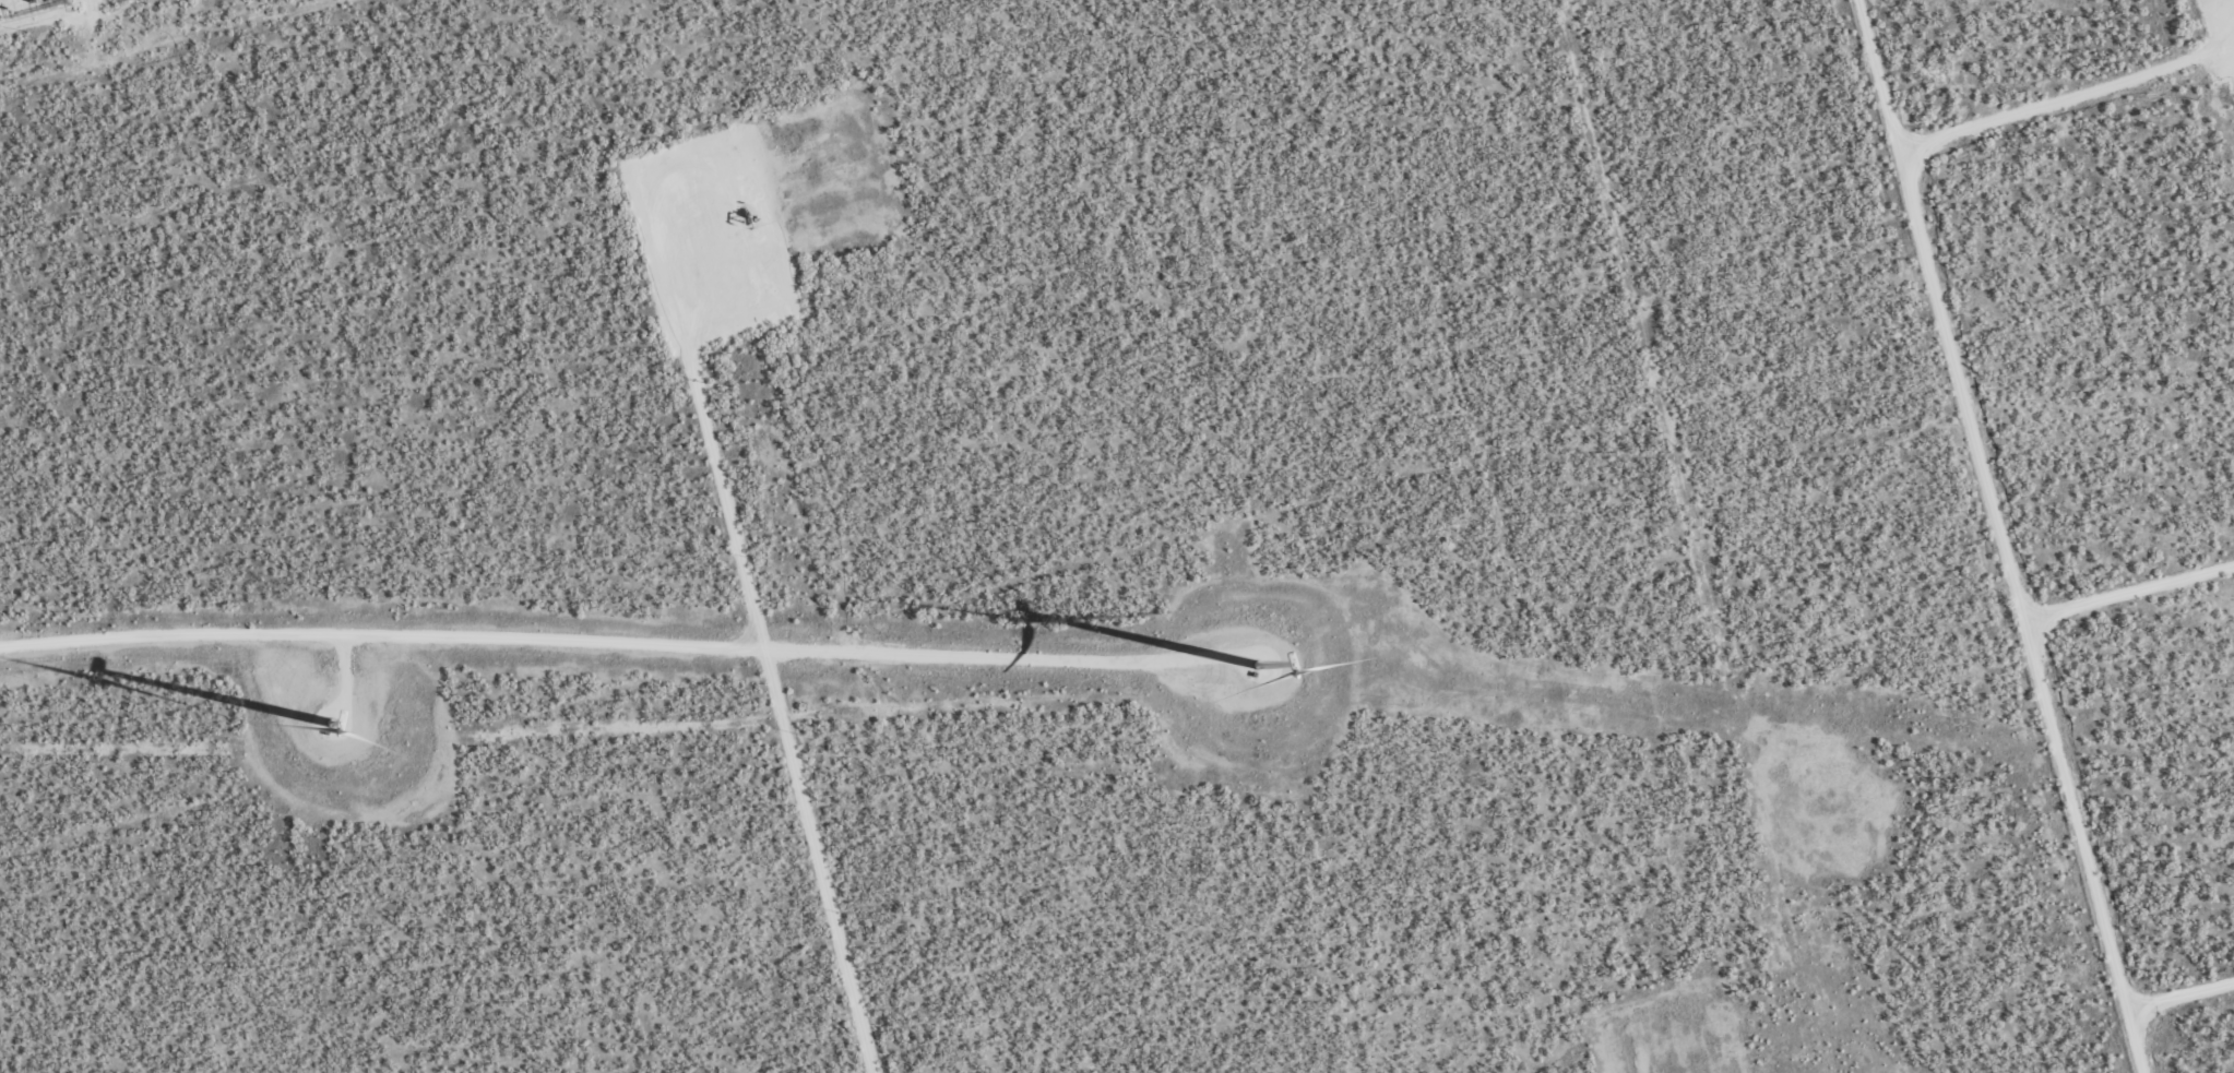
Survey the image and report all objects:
road: (2067, 102)
road: (2004, 535)
road: (2130, 594)
wind turbine: (1256, 671)
wind turbine: (333, 727)
road: (2180, 998)

